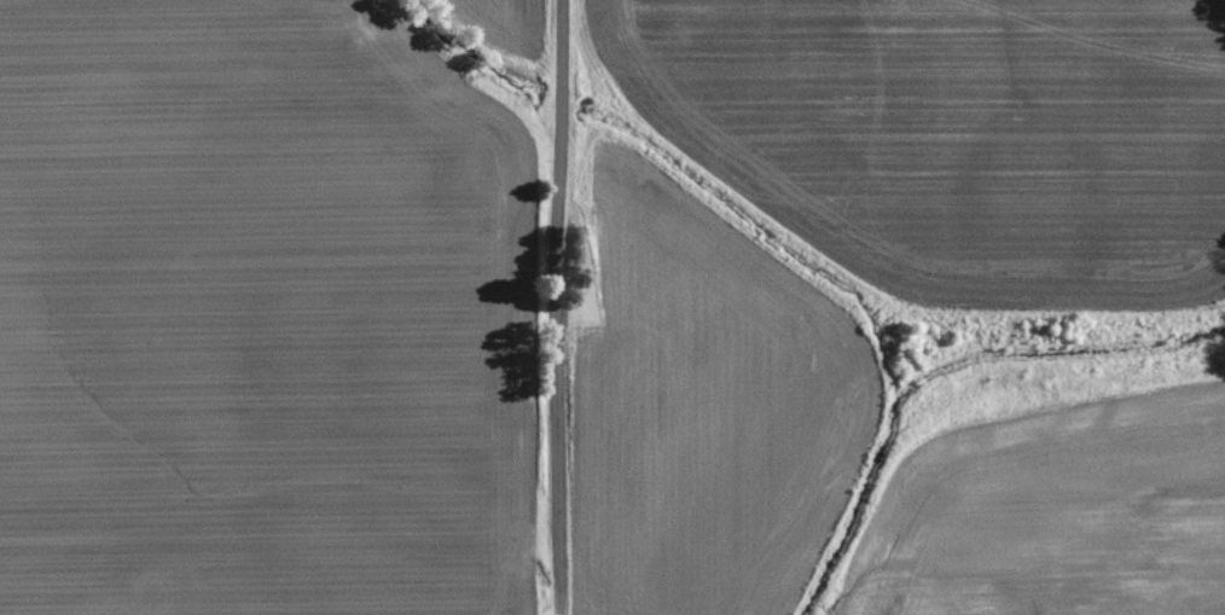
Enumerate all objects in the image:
road: (567, 307)

